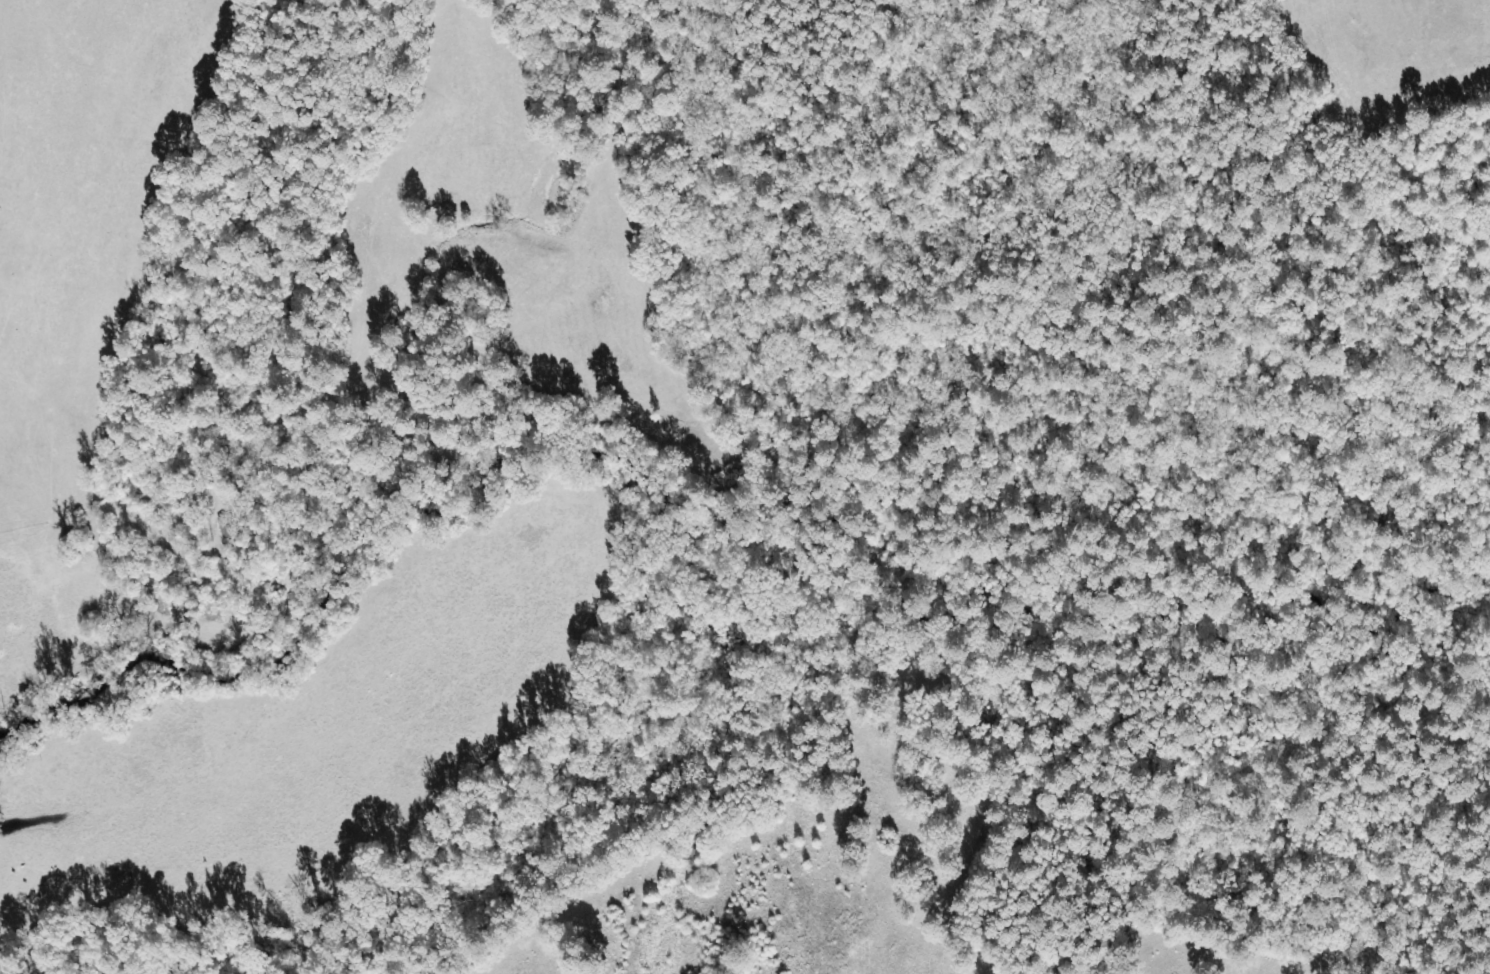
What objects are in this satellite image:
building: (235, 527)
road: (123, 586)

